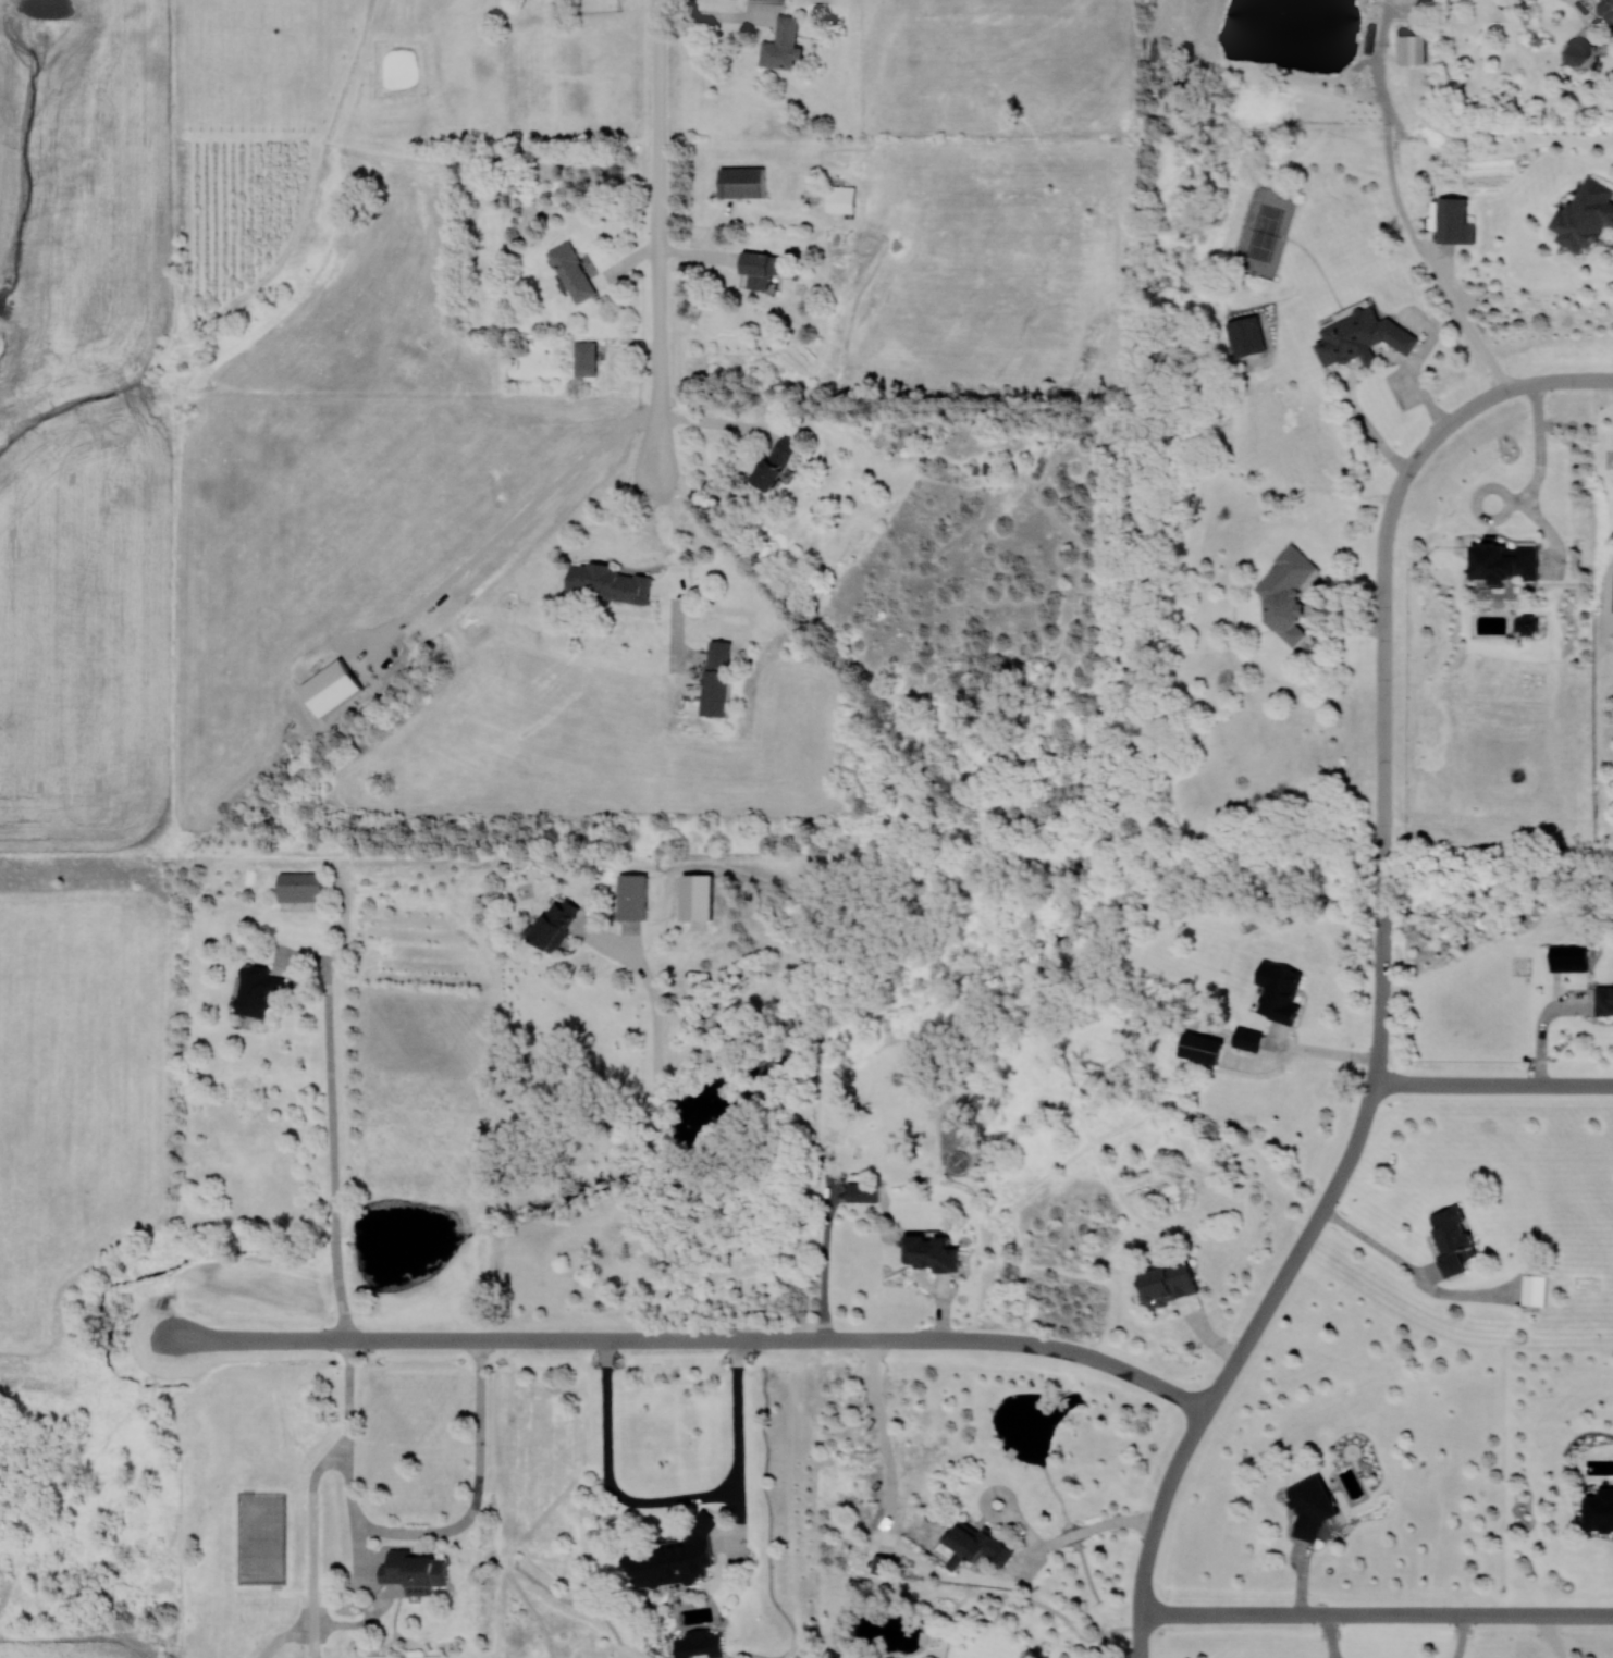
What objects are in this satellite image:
building: (769, 0)
building: (1604, 5)
road: (718, 17)
building: (781, 44)
building: (1412, 49)
building: (1579, 51)
building: (742, 182)
building: (840, 199)
building: (1586, 213)
building: (1454, 221)
road: (1408, 225)
road: (658, 237)
road: (710, 247)
building: (572, 272)
building: (1245, 335)
building: (586, 358)
road: (1371, 359)
road: (1588, 380)
road: (1419, 381)
road: (1365, 421)
road: (1541, 451)
building: (777, 462)
road: (1478, 498)
road: (516, 522)
road: (1546, 528)
road: (666, 533)
building: (1503, 561)
building: (608, 582)
building: (1288, 593)
building: (1612, 608)
building: (1526, 624)
building: (717, 678)
road: (1384, 682)
building: (332, 688)
building: (299, 887)
building: (632, 896)
building: (698, 896)
building: (555, 924)
building: (1568, 957)
building: (257, 991)
building: (1279, 991)
building: (1604, 1001)
road: (1541, 1026)
building: (1247, 1038)
building: (1202, 1047)
road: (1304, 1051)
road: (1494, 1085)
road: (656, 1126)
road: (332, 1131)
building: (862, 1191)
building: (1450, 1239)
building: (932, 1252)
road: (1413, 1267)
building: (1169, 1283)
building: (1534, 1289)
road: (695, 1339)
road: (1234, 1363)
road: (882, 1428)
road: (673, 1501)
building: (1312, 1507)
building: (1599, 1510)
road: (411, 1532)
road: (1085, 1533)
building: (974, 1545)
building: (675, 1557)
building: (878, 1563)
building: (415, 1571)
road: (1378, 1614)
road: (1328, 1636)
road: (1462, 1636)
road: (1553, 1636)
building: (699, 1644)

